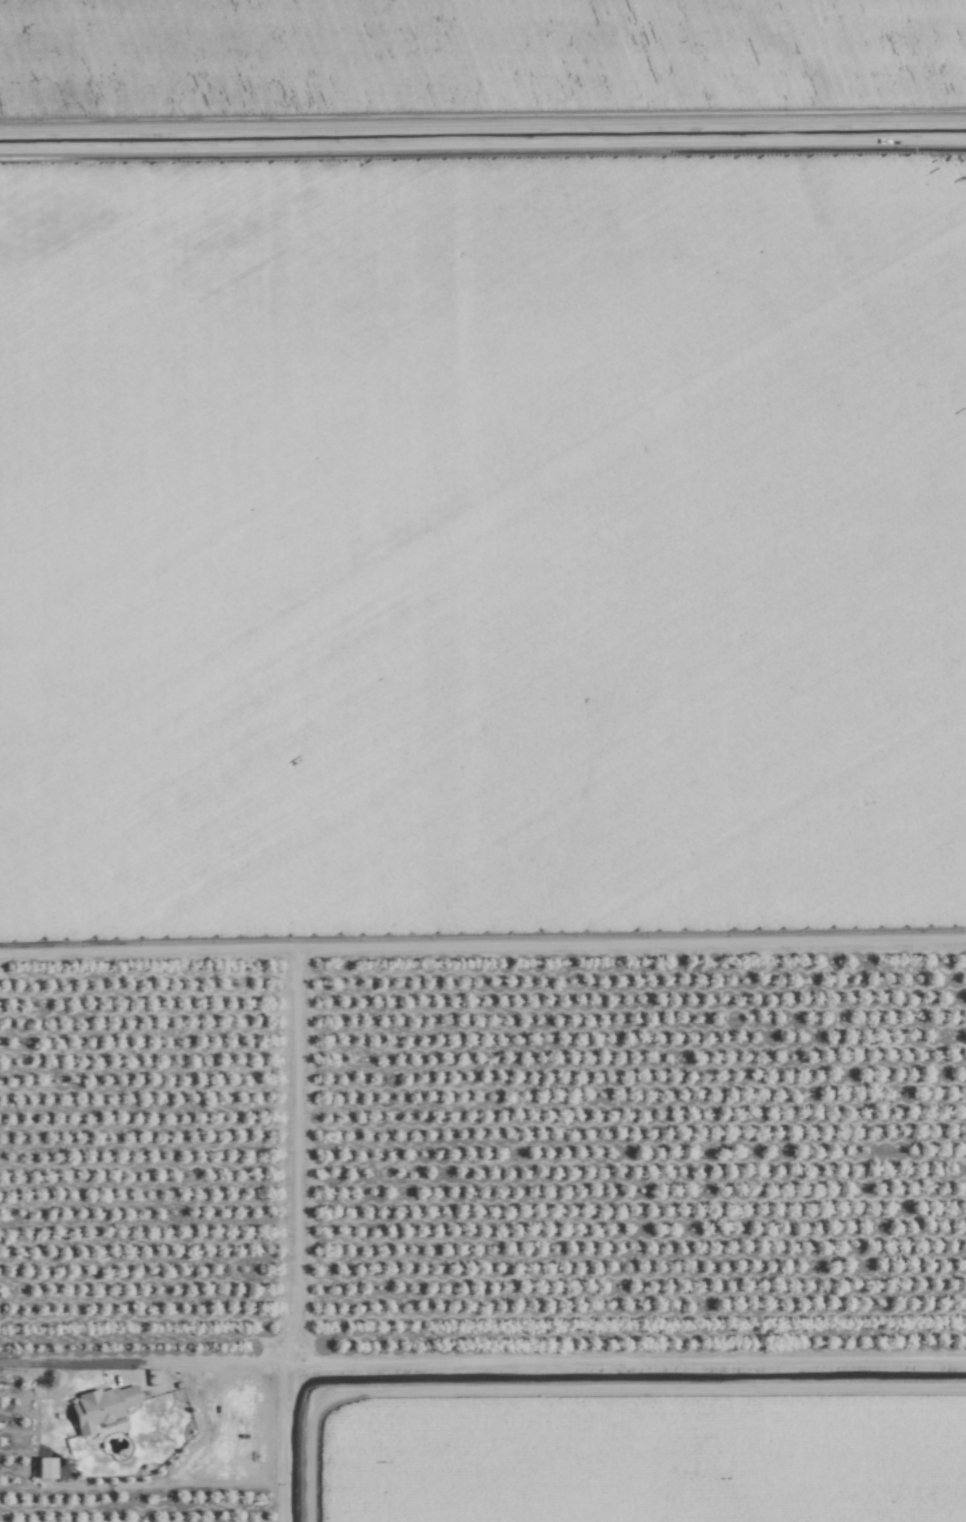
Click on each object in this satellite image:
road: (292, 1154)
building: (99, 1406)

